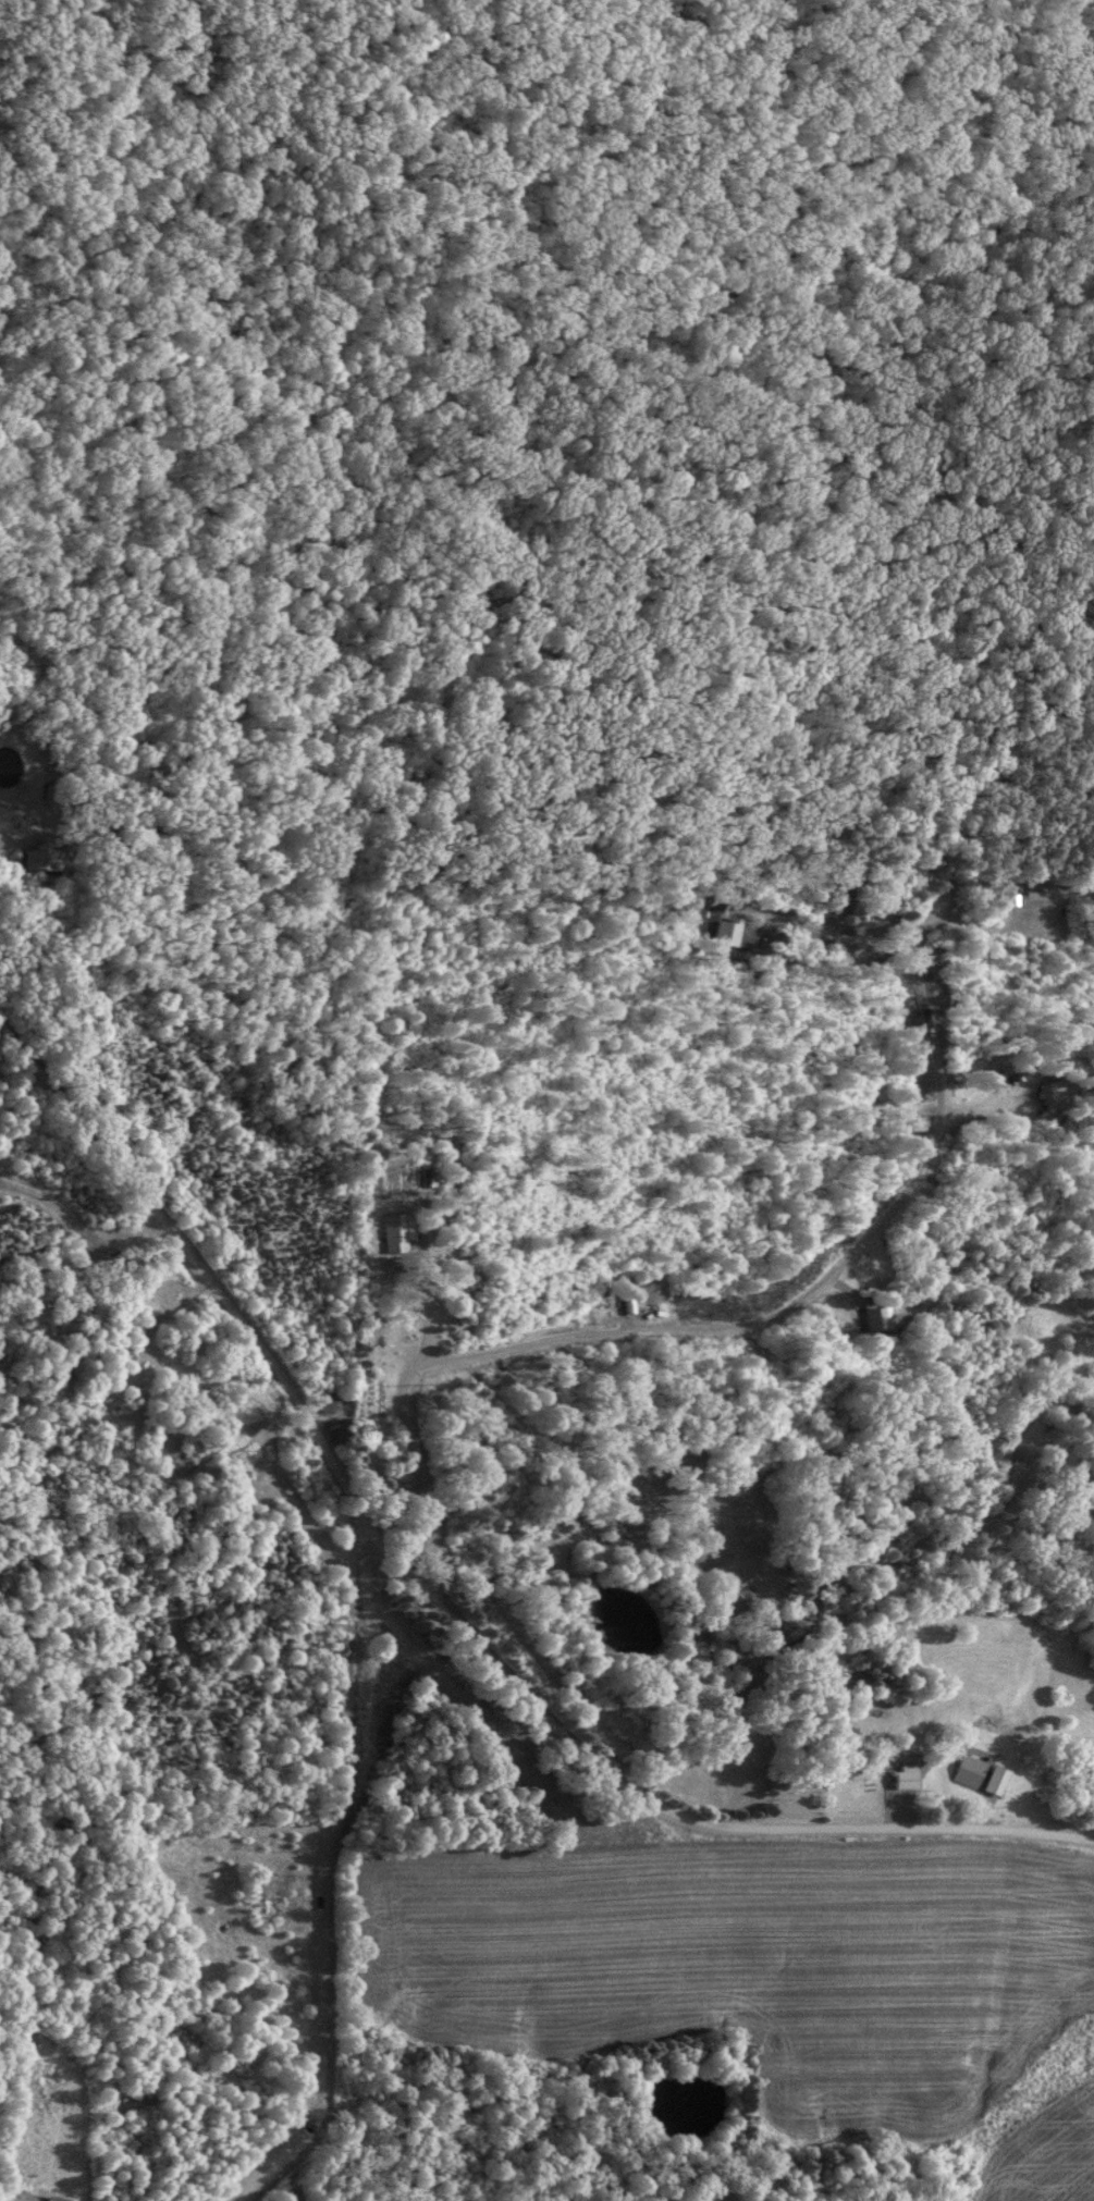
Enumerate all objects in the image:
building: (1032, 899)
road: (764, 1318)
road: (442, 1602)
building: (966, 1772)
building: (902, 1778)
building: (991, 1782)
road: (335, 1876)
building: (257, 1897)

